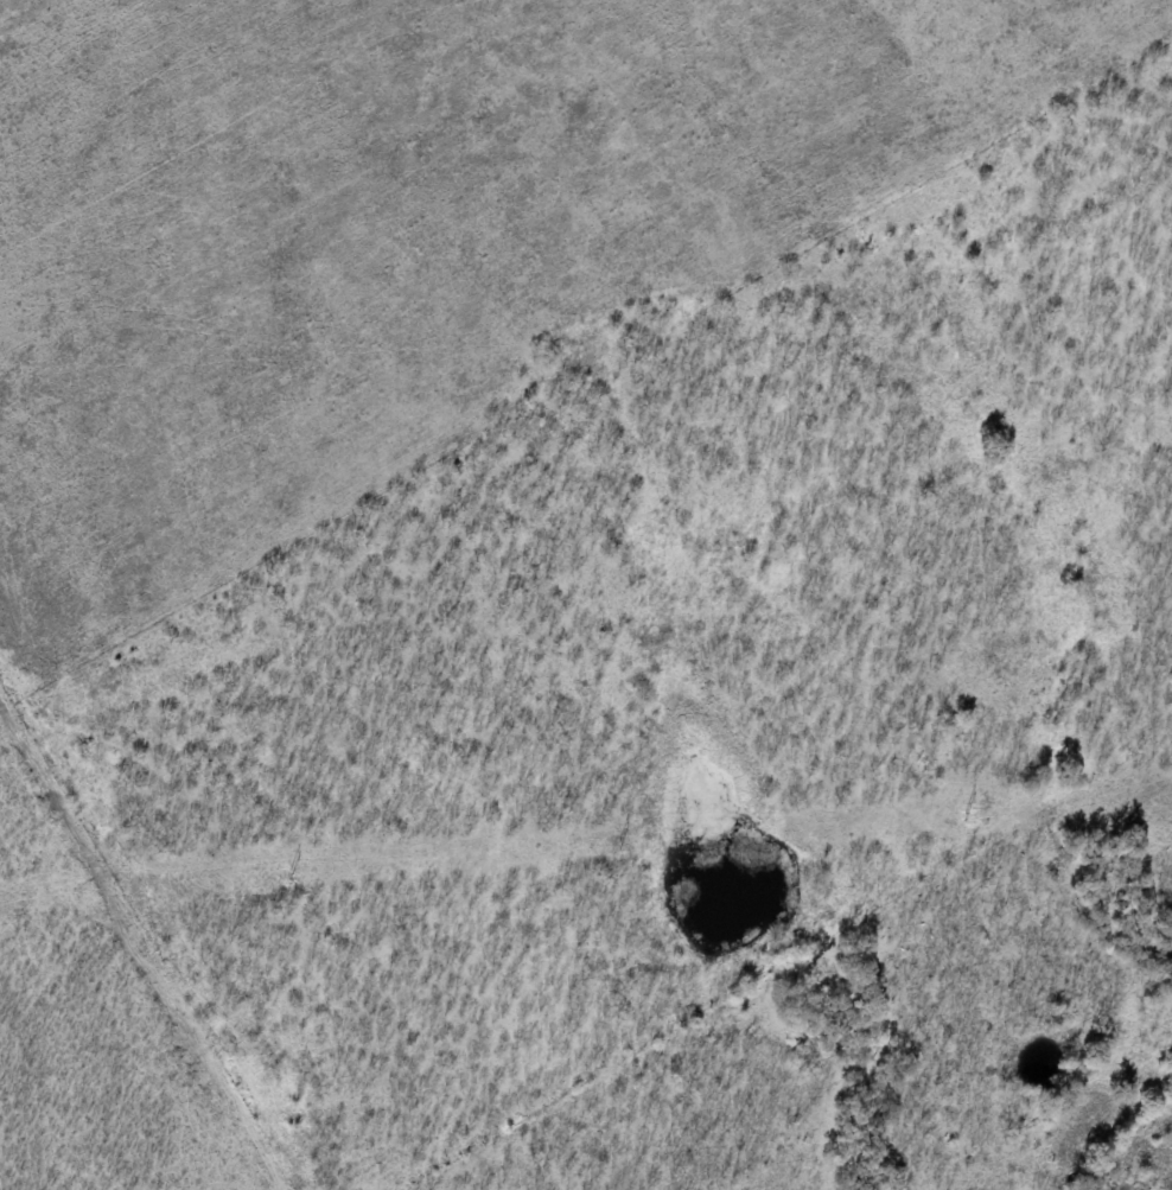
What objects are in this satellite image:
power tower: (966, 815)
power tower: (620, 844)
power tower: (292, 872)

